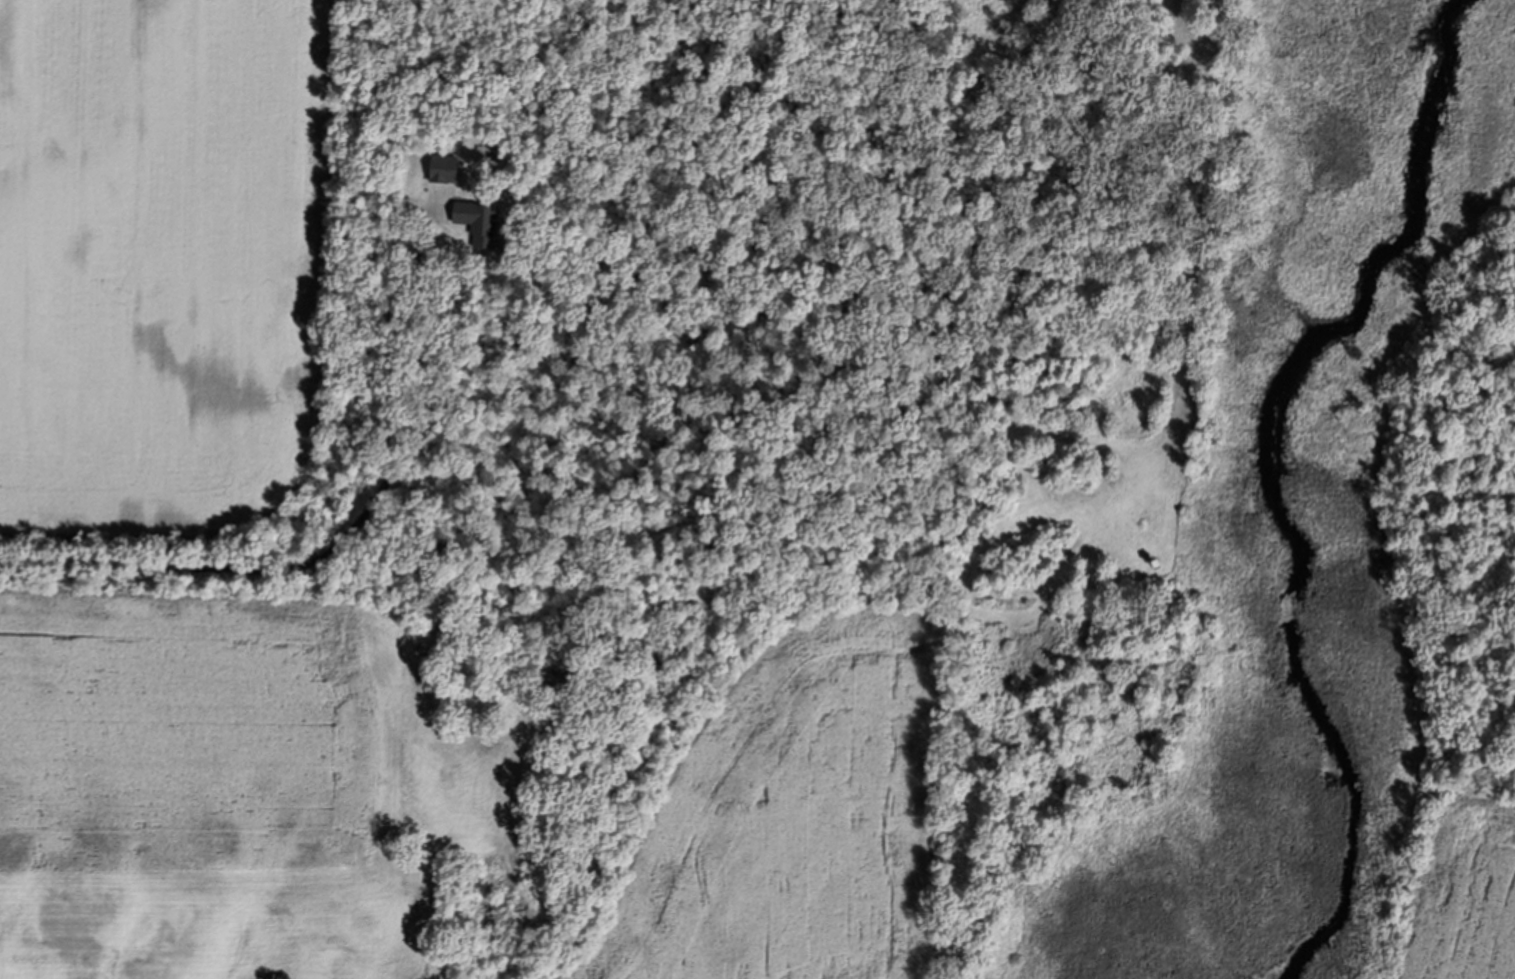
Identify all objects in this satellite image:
building: (446, 168)
building: (482, 222)
road: (348, 536)

